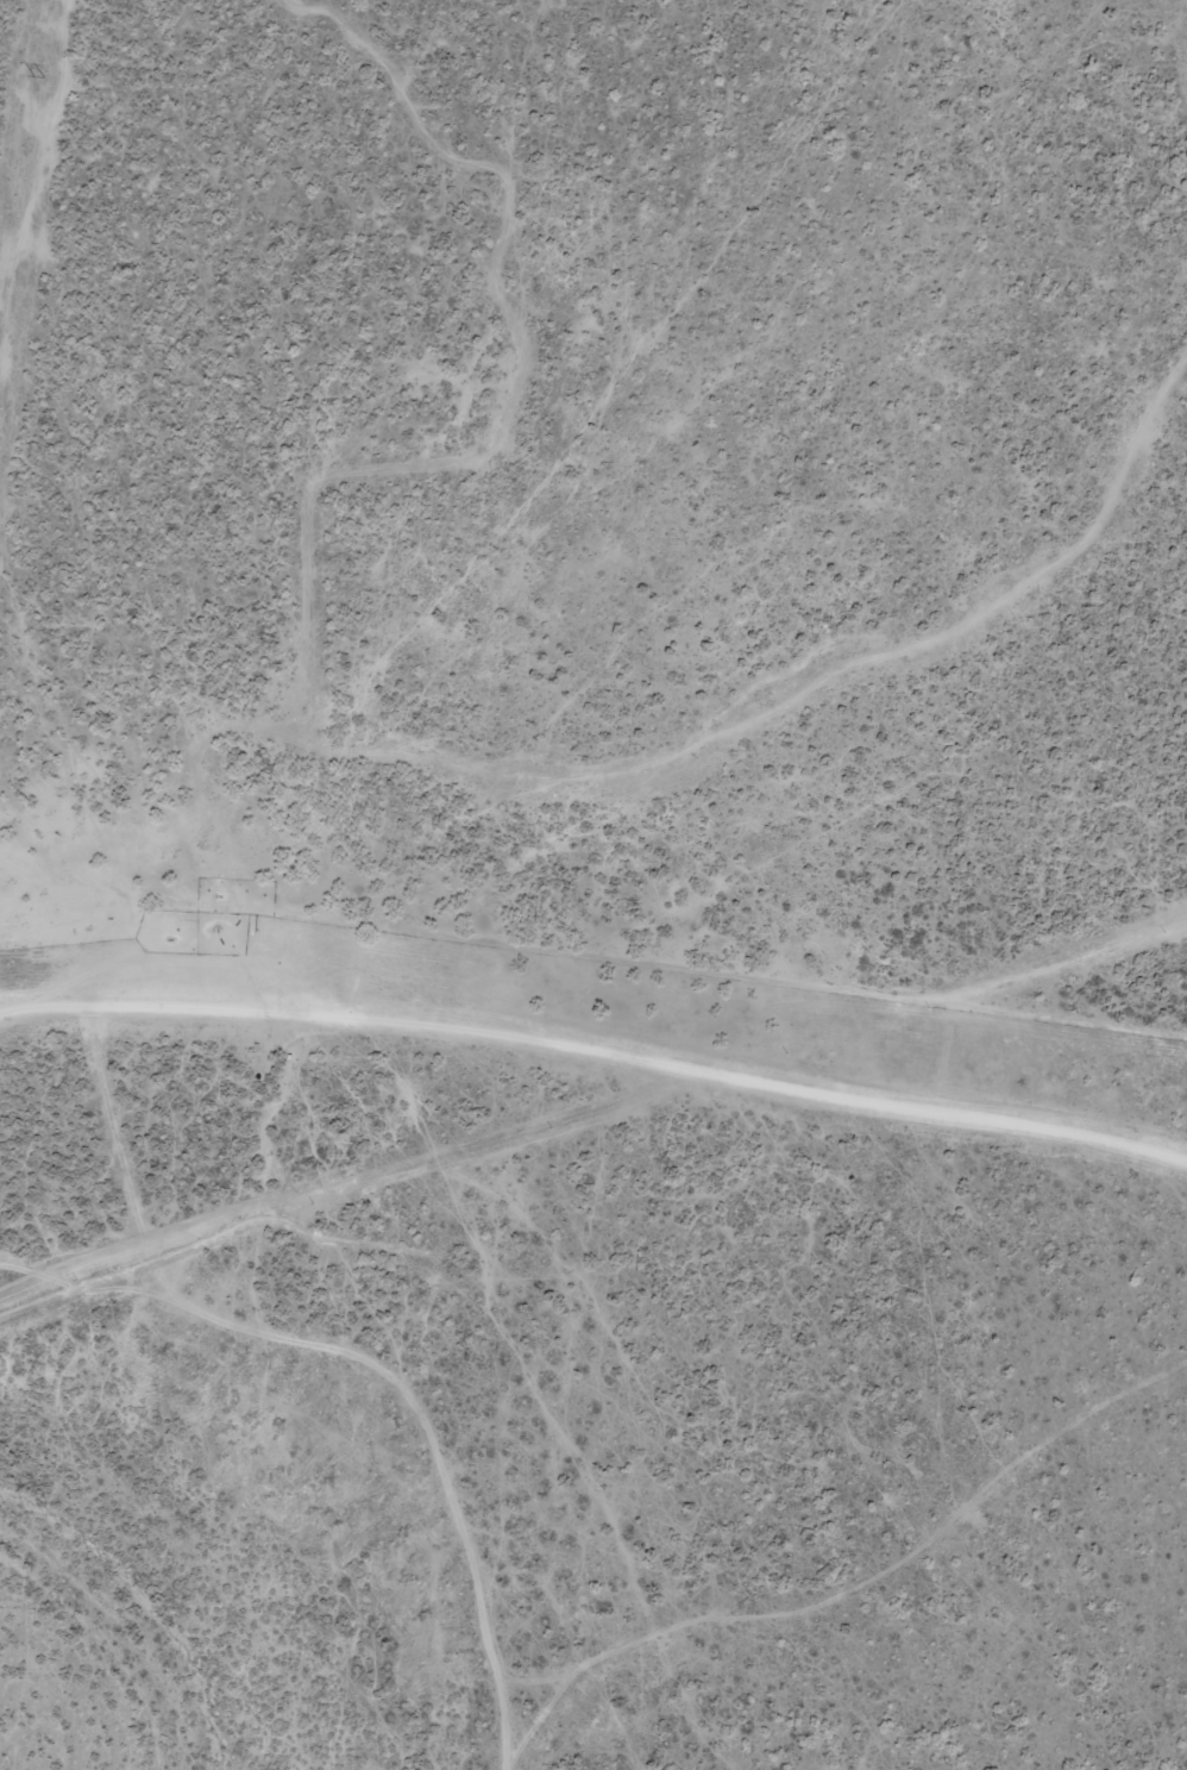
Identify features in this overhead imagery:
power tower: (38, 76)
road: (378, 1405)
road: (865, 1627)

